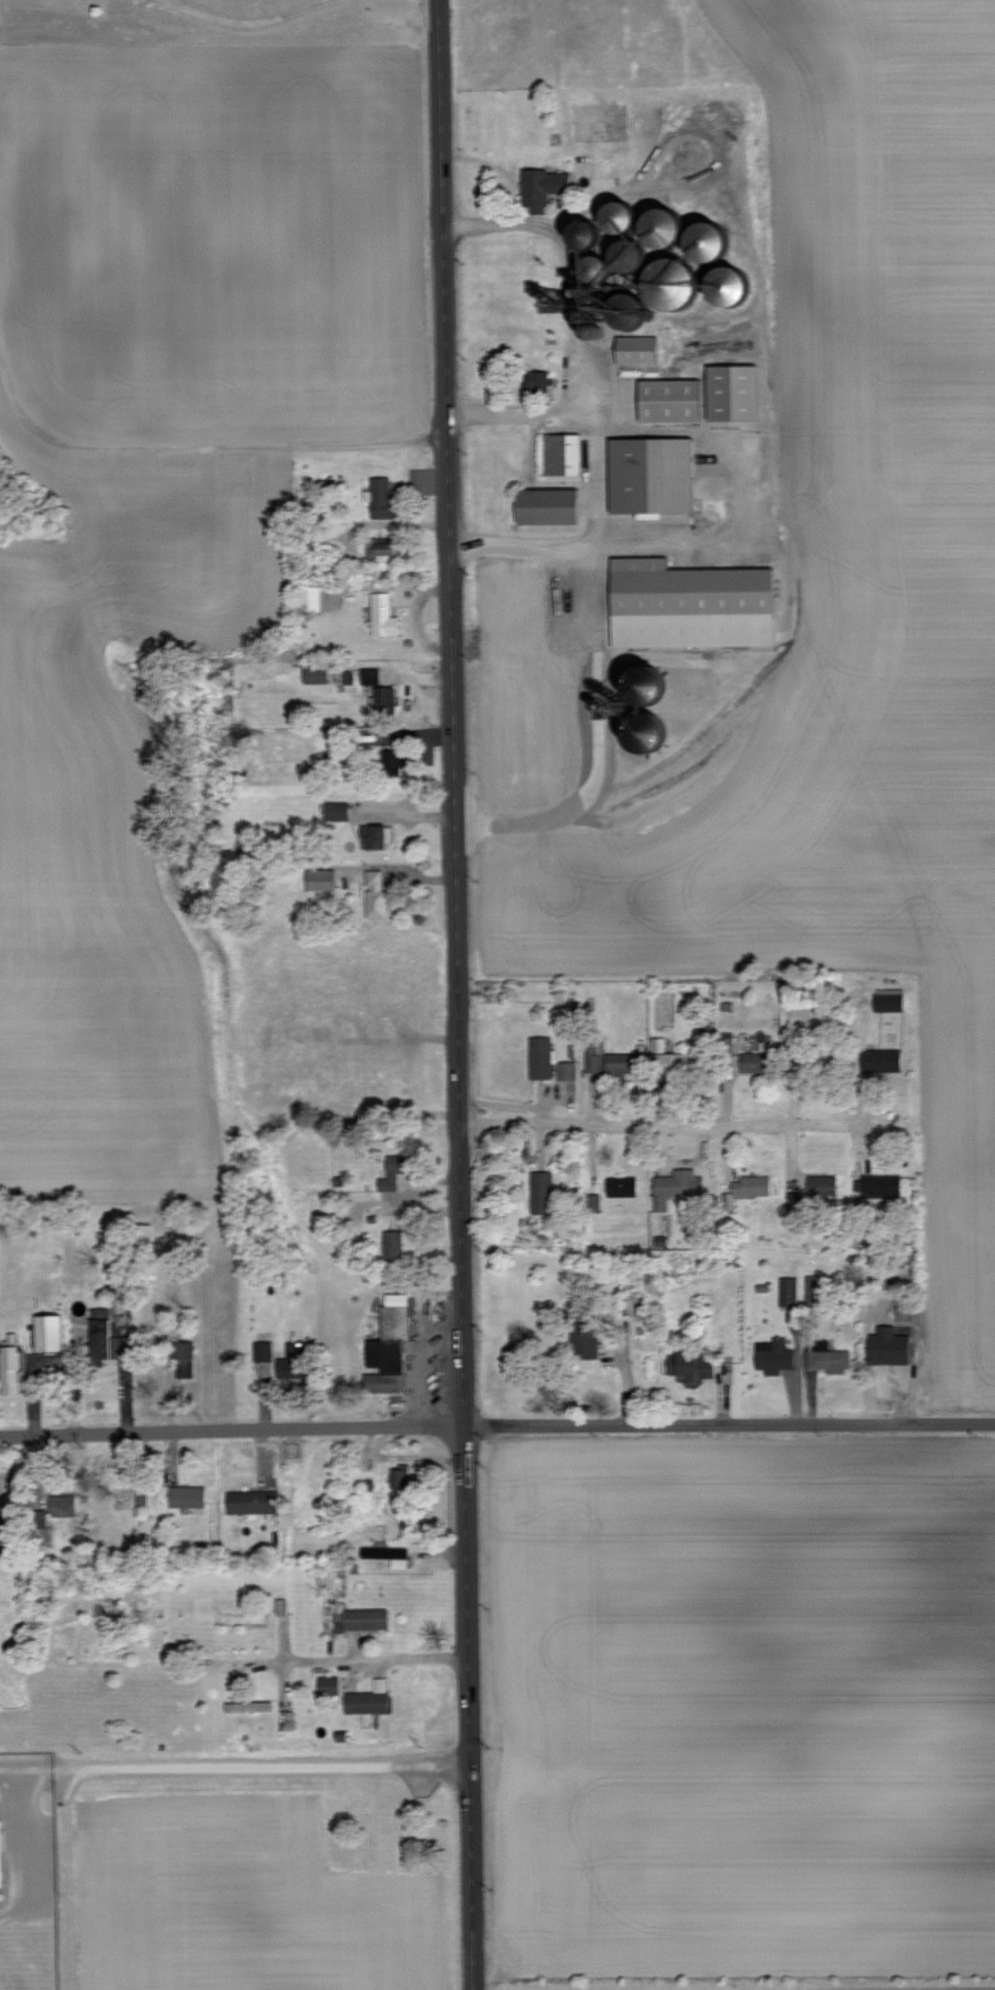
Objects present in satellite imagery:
road: (247, 22)
building: (542, 186)
building: (663, 236)
building: (685, 267)
building: (728, 285)
building: (637, 349)
building: (733, 392)
building: (670, 400)
building: (562, 453)
building: (653, 475)
building: (384, 500)
building: (548, 506)
building: (381, 547)
building: (310, 598)
building: (690, 605)
building: (383, 615)
building: (316, 673)
building: (371, 675)
building: (647, 684)
building: (385, 699)
building: (647, 732)
building: (394, 763)
building: (337, 810)
building: (374, 836)
building: (321, 879)
building: (377, 895)
road: (459, 994)
building: (890, 999)
building: (541, 1057)
building: (674, 1058)
building: (607, 1059)
building: (886, 1059)
building: (754, 1062)
building: (567, 1070)
road: (664, 1123)
building: (393, 1172)
building: (823, 1185)
building: (622, 1186)
building: (677, 1186)
building: (752, 1186)
building: (882, 1186)
building: (542, 1192)
building: (794, 1200)
building: (393, 1243)
building: (810, 1288)
building: (789, 1291)
building: (905, 1312)
building: (49, 1332)
building: (109, 1332)
building: (586, 1340)
building: (390, 1346)
building: (889, 1346)
building: (263, 1351)
building: (774, 1355)
building: (184, 1359)
building: (830, 1360)
building: (294, 1361)
building: (692, 1368)
road: (497, 1426)
building: (400, 1476)
building: (188, 1496)
building: (143, 1497)
building: (253, 1501)
building: (63, 1505)
building: (389, 1555)
building: (364, 1619)
road: (377, 1658)
building: (329, 1685)
building: (370, 1698)
building: (249, 1706)
road: (236, 1767)
building: (0, 1855)

